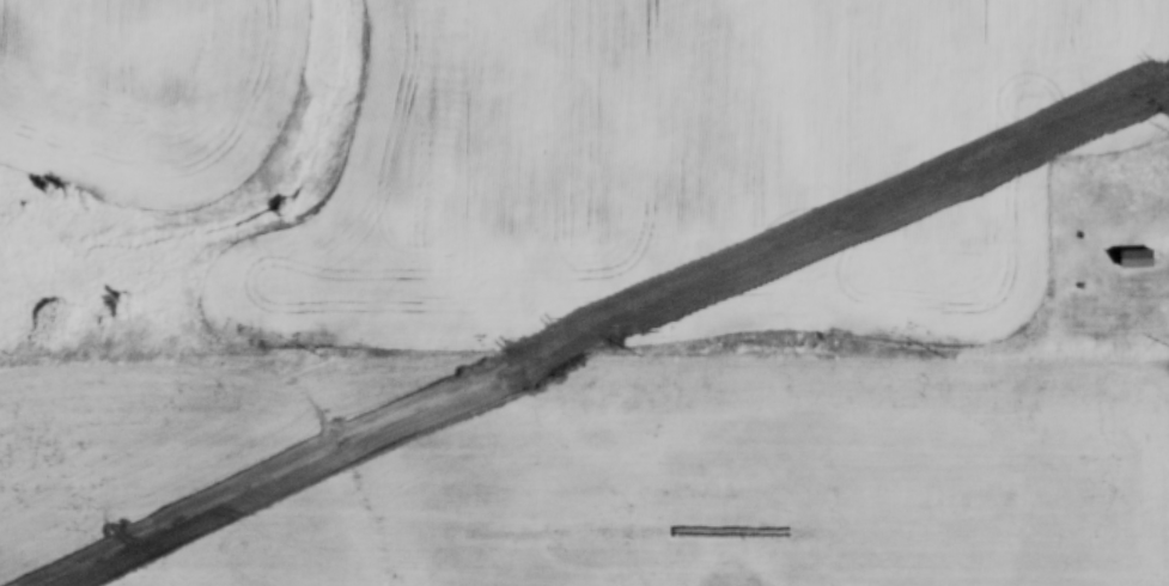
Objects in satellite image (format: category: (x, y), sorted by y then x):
building: (1138, 261)

